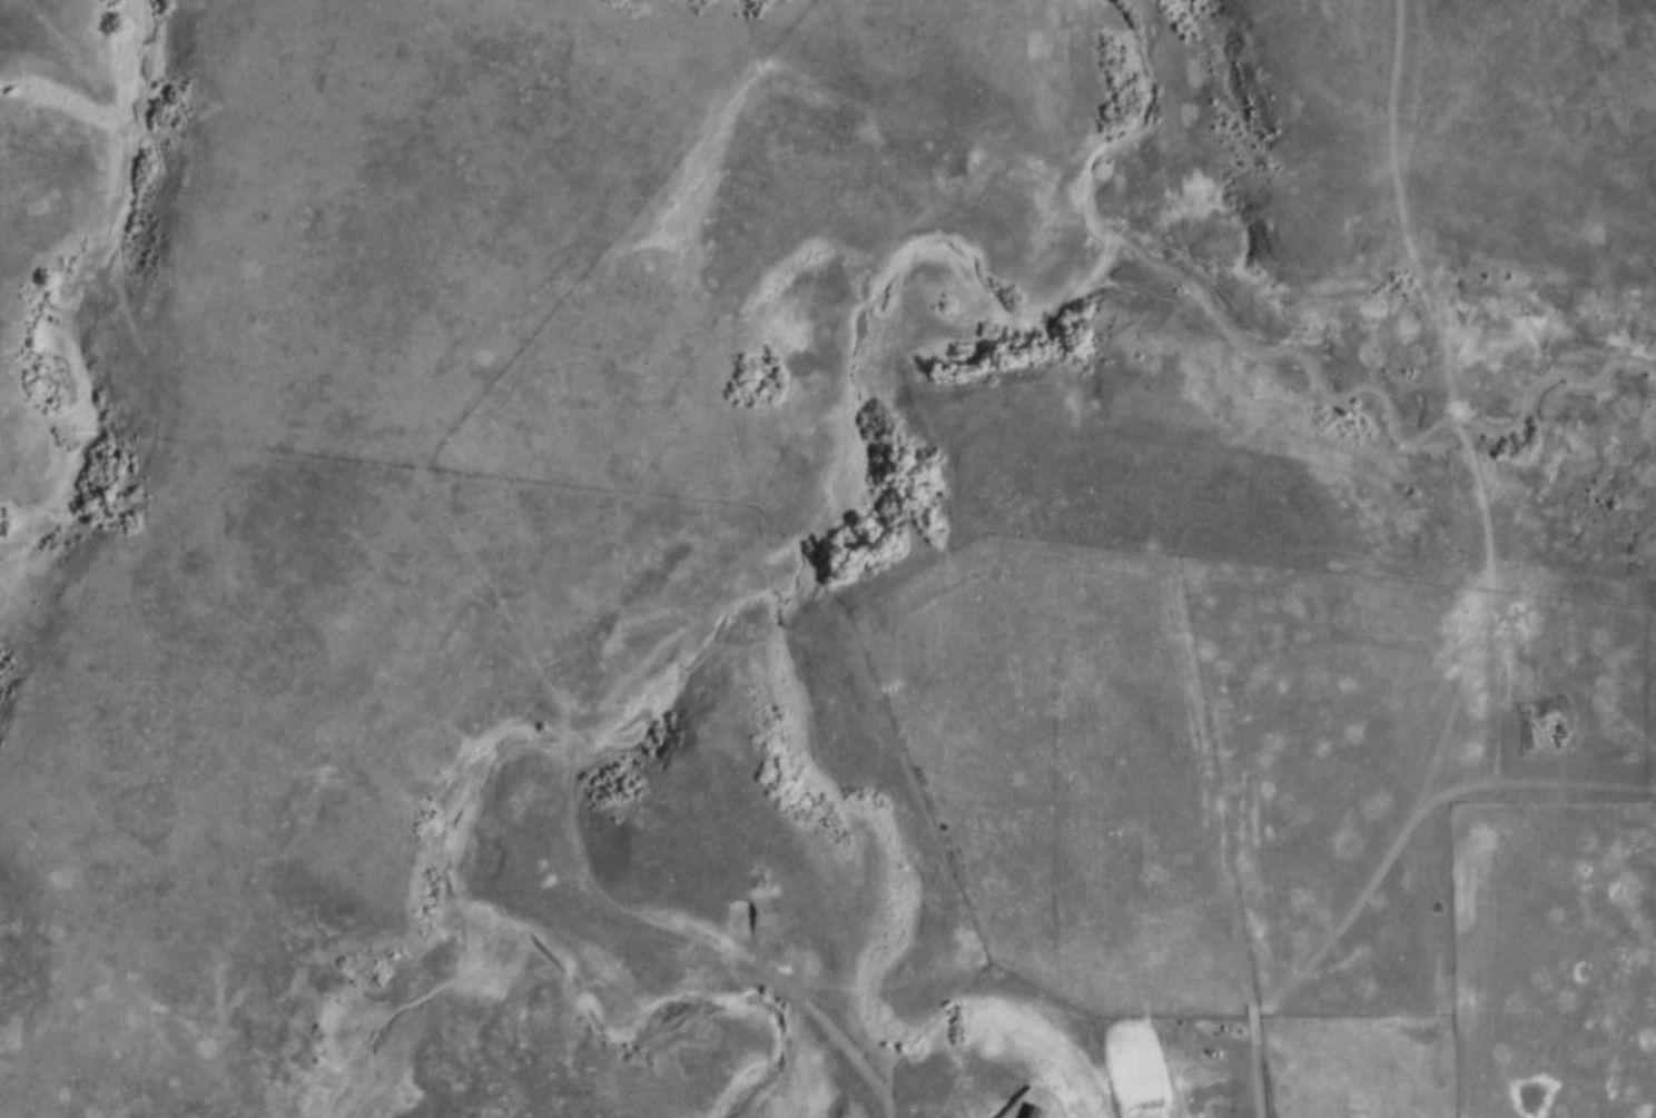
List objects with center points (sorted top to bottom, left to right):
road: (848, 1056)

